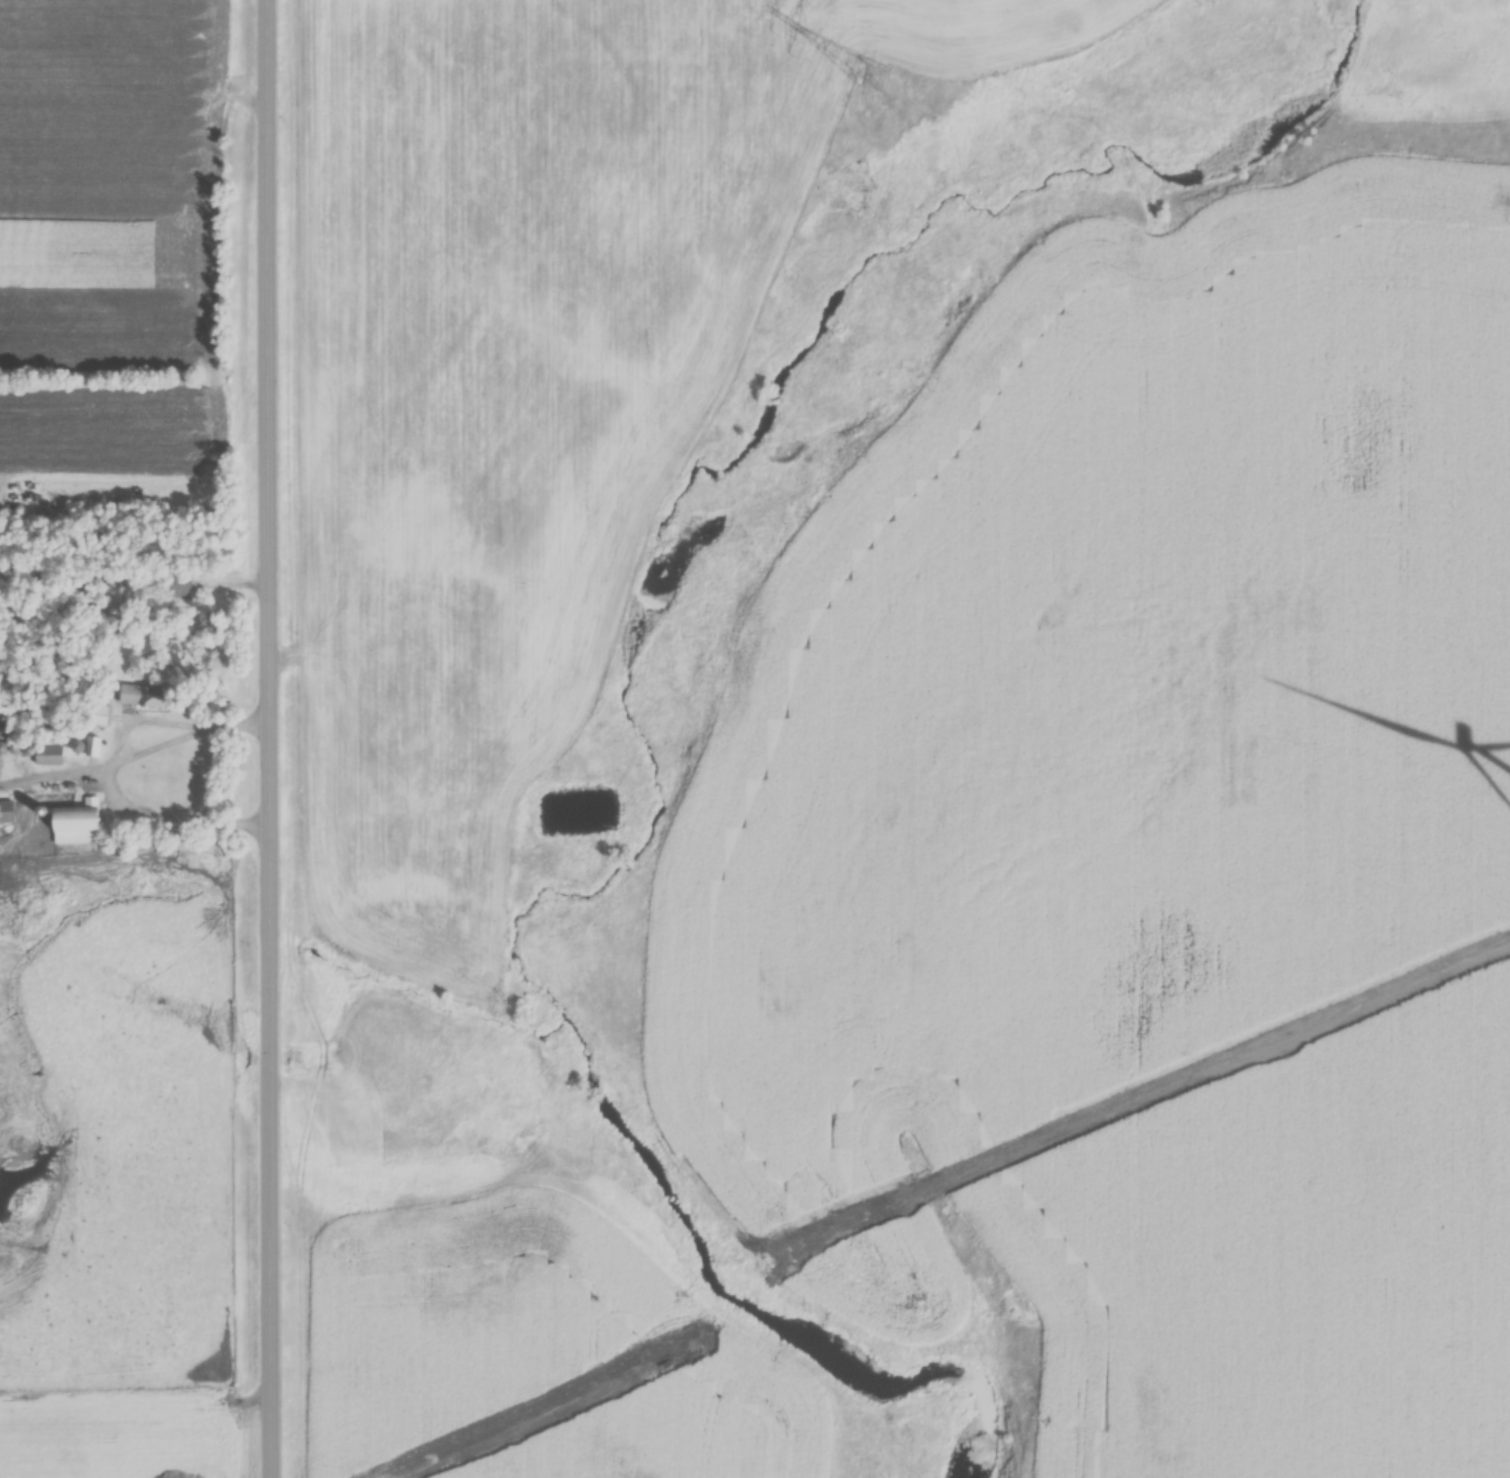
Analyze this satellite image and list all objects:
power tower: (867, 74)
building: (139, 699)
building: (96, 717)
road: (271, 738)
building: (91, 748)
building: (18, 750)
building: (5, 814)
building: (72, 828)

